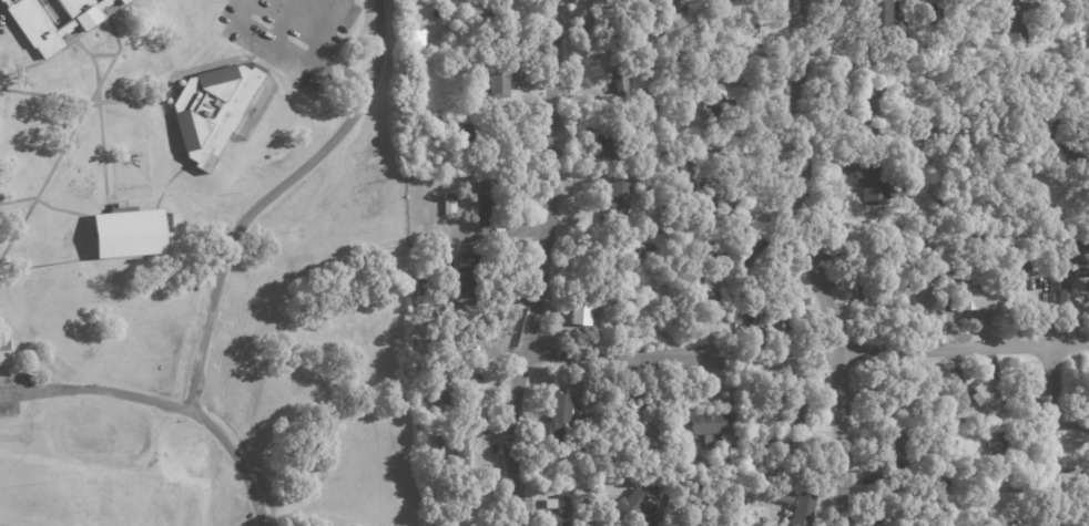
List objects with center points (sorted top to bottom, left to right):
building: (0, 0)
building: (124, 1)
building: (425, 2)
building: (632, 3)
building: (689, 11)
building: (665, 12)
building: (882, 19)
building: (714, 20)
building: (1017, 20)
building: (610, 24)
building: (35, 28)
building: (492, 32)
parking lot: (289, 33)
building: (416, 38)
building: (938, 48)
building: (915, 52)
building: (907, 70)
building: (615, 74)
building: (501, 76)
building: (645, 92)
building: (645, 99)
building: (867, 101)
building: (702, 107)
building: (210, 112)
building: (720, 116)
building: (1034, 120)
building: (625, 125)
building: (932, 131)
building: (462, 142)
building: (431, 145)
building: (604, 146)
building: (1062, 152)
building: (1021, 165)
building: (683, 166)
building: (642, 174)
building: (878, 183)
building: (717, 192)
road: (271, 197)
building: (482, 202)
building: (615, 202)
building: (449, 205)
building: (937, 205)
building: (663, 221)
building: (1065, 227)
building: (124, 231)
building: (1087, 246)
building: (930, 248)
building: (640, 251)
building: (717, 255)
road: (544, 264)
building: (747, 264)
building: (1016, 264)
road: (811, 265)
building: (465, 277)
building: (863, 281)
building: (701, 286)
building: (419, 287)
building: (1062, 288)
building: (609, 292)
building: (659, 295)
building: (917, 296)
building: (499, 300)
building: (964, 300)
building: (625, 301)
building: (581, 303)
building: (455, 316)
building: (455, 350)
road: (808, 352)
building: (4, 357)
building: (442, 388)
building: (640, 390)
building: (960, 390)
parking lot: (11, 391)
building: (987, 395)
building: (794, 398)
building: (898, 399)
building: (416, 405)
road: (162, 406)
building: (558, 419)
building: (643, 425)
building: (776, 426)
building: (710, 430)
building: (924, 431)
road: (1050, 437)
building: (446, 443)
building: (951, 443)
building: (461, 451)
building: (589, 452)
building: (896, 454)
building: (927, 455)
building: (732, 456)
building: (995, 456)
building: (777, 457)
building: (711, 466)
building: (877, 477)
building: (652, 485)
building: (594, 487)
building: (942, 489)
building: (940, 496)
building: (781, 498)
building: (593, 499)
building: (744, 503)
building: (550, 504)
building: (986, 504)
building: (637, 508)
building: (772, 510)
building: (563, 512)
building: (909, 512)

